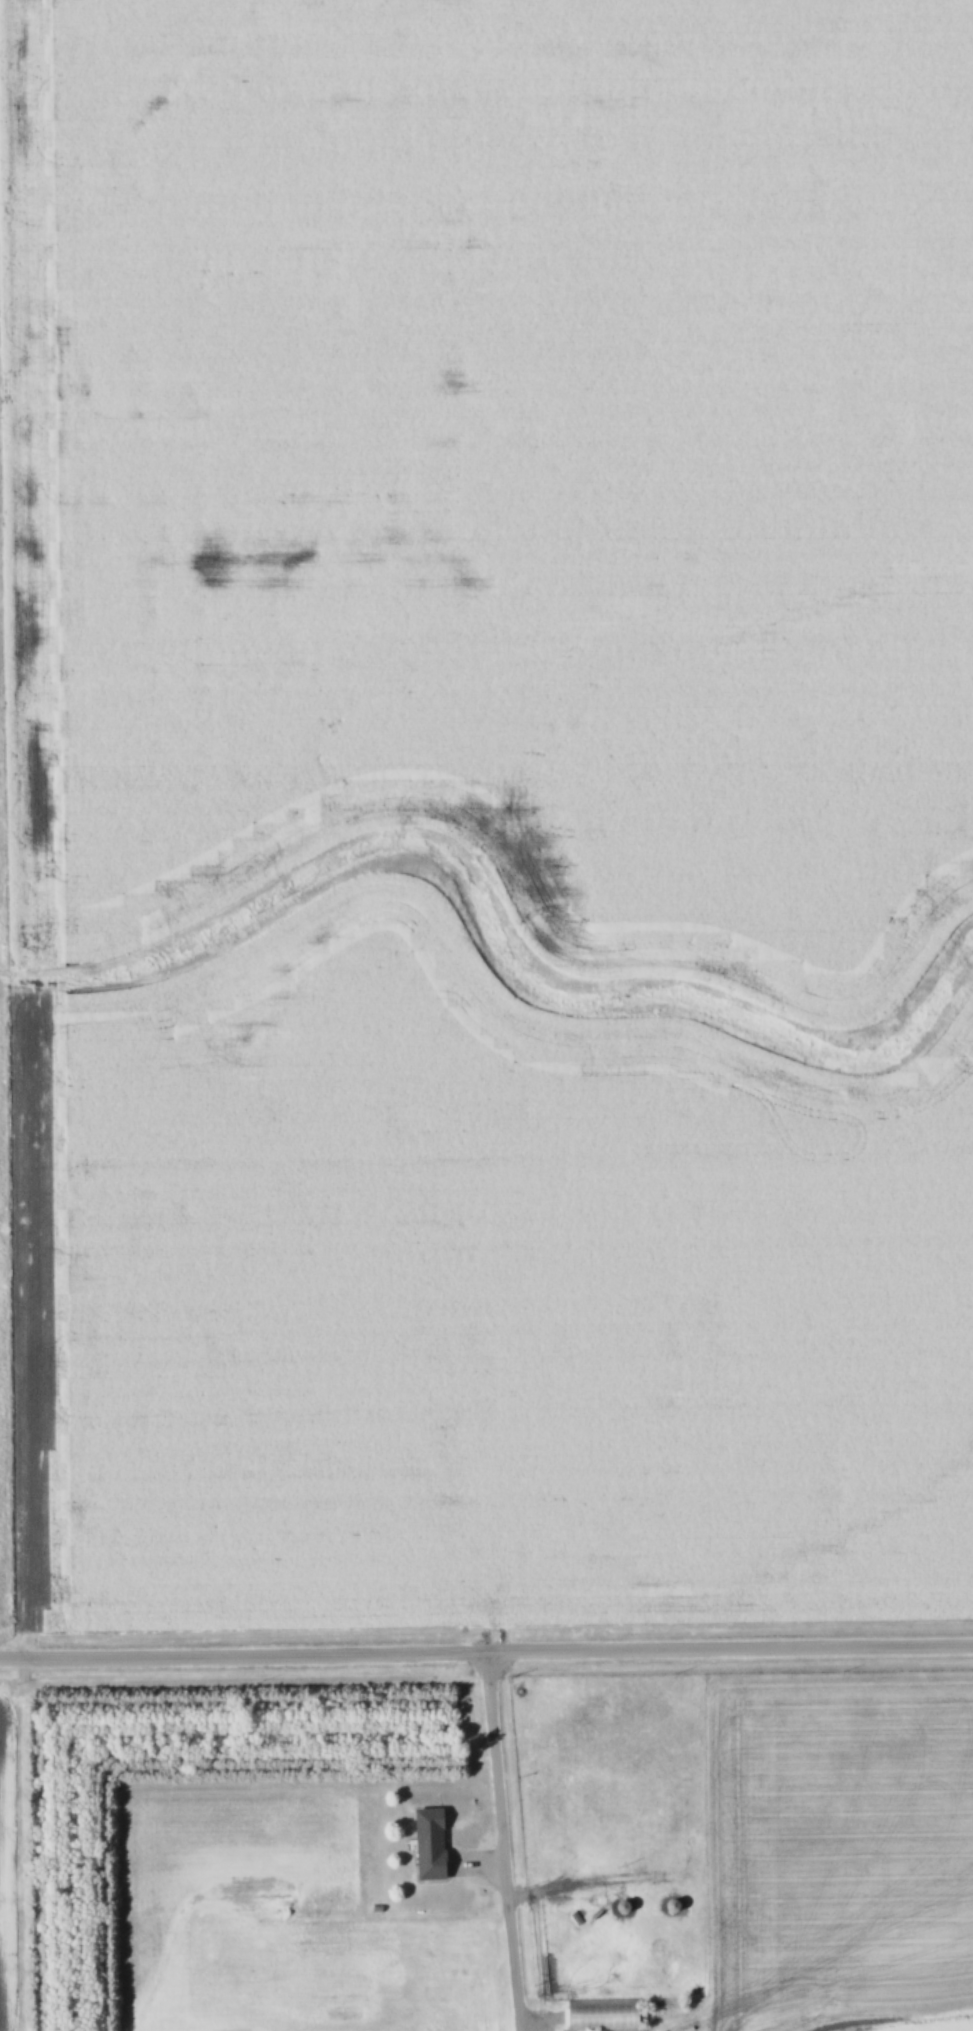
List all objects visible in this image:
road: (486, 1653)
road: (497, 1760)
building: (430, 1845)
building: (623, 1907)
road: (513, 1949)
building: (604, 2015)

